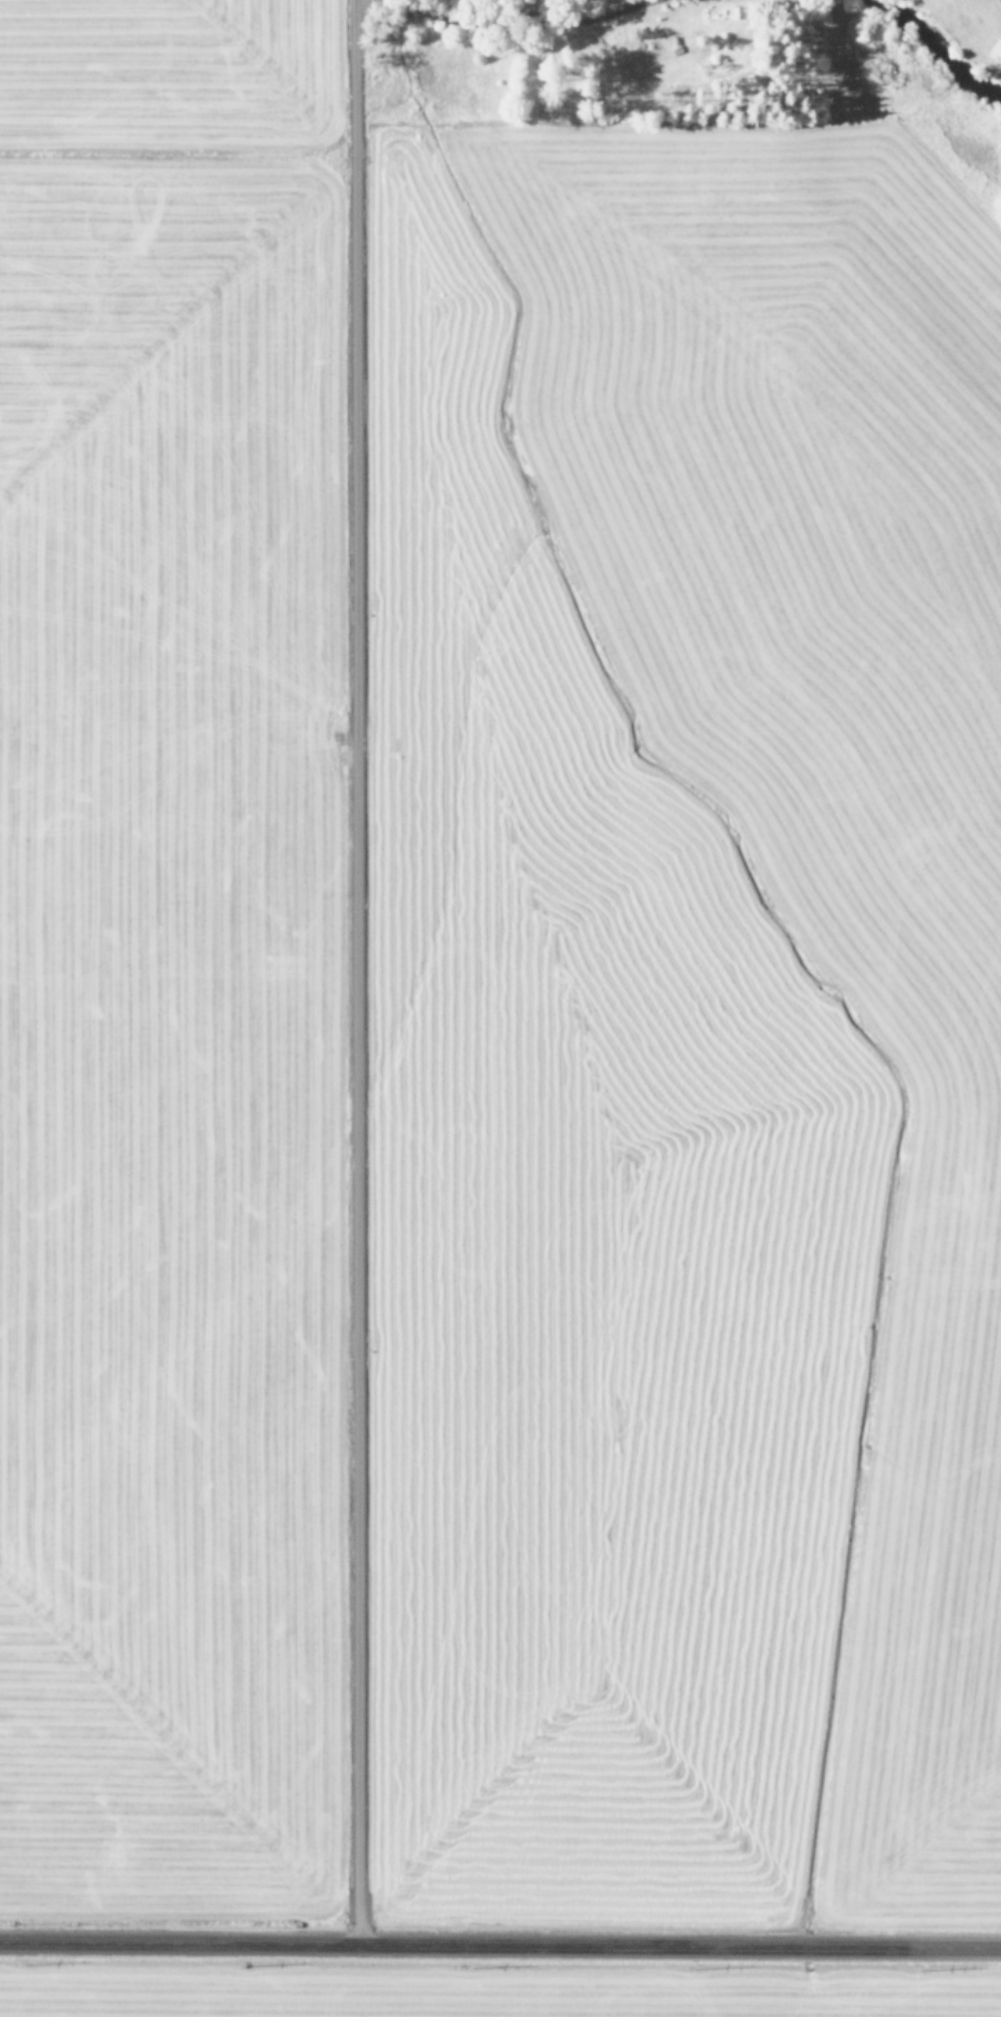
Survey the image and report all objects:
road: (359, 972)
crop: (492, 990)
road: (500, 1945)
crop: (489, 1989)

